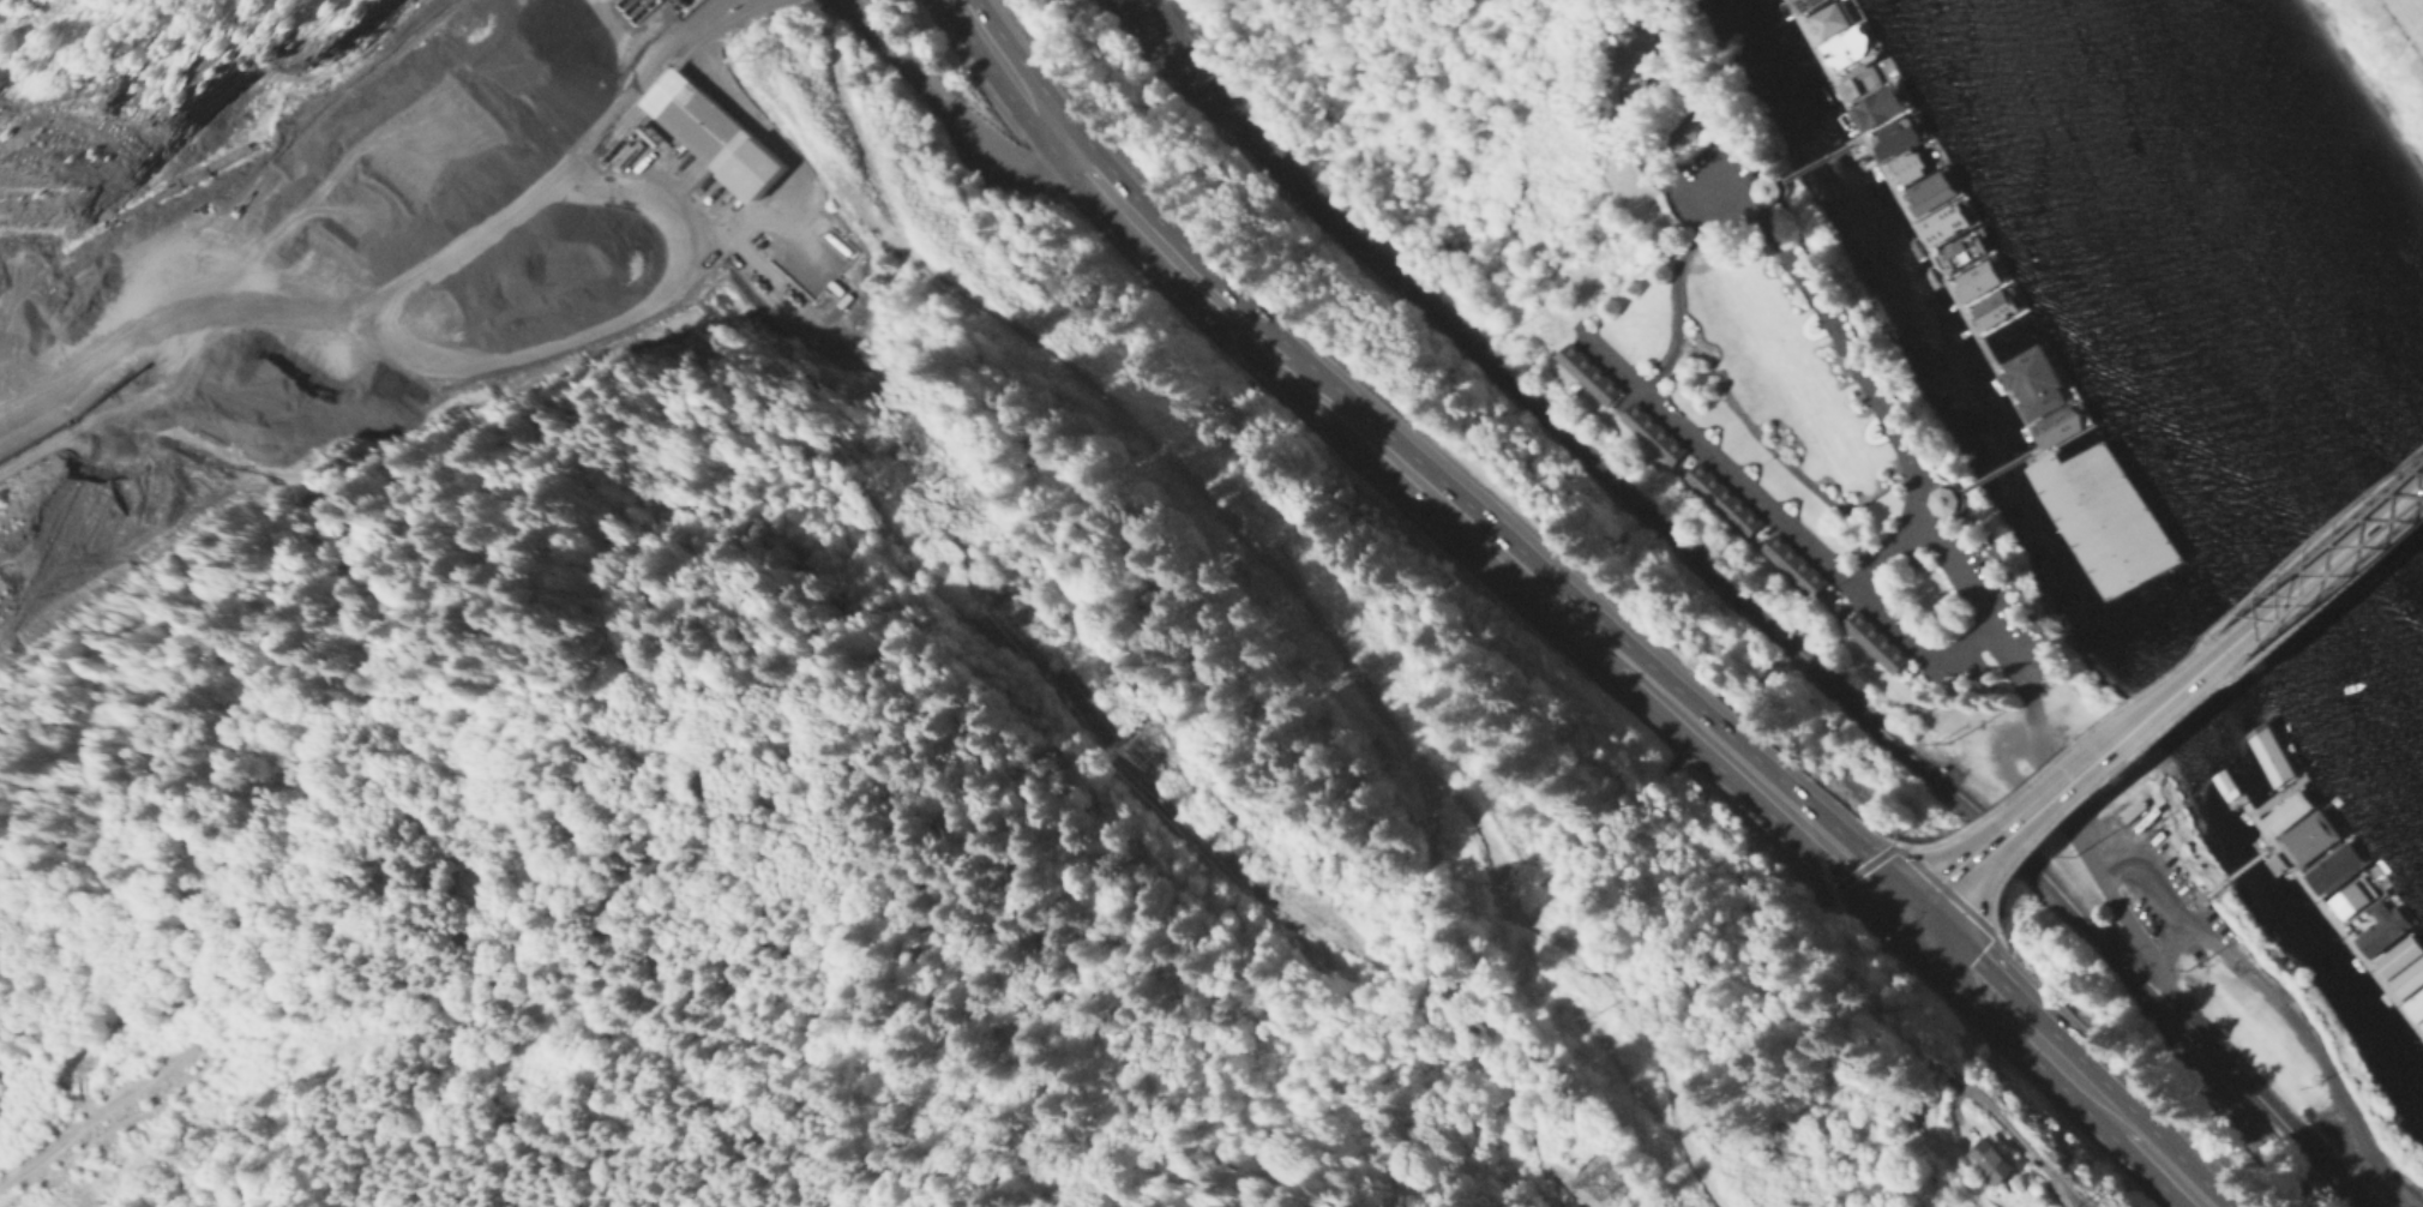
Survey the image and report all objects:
building: (1798, 2)
building: (1824, 14)
parking lot: (655, 17)
building: (1842, 41)
road: (695, 42)
road: (666, 53)
parking lot: (707, 74)
building: (1862, 74)
road: (651, 89)
building: (1876, 101)
road: (950, 104)
railway: (1213, 109)
building: (1892, 130)
building: (648, 132)
storage tank: (648, 132)
building: (714, 132)
building: (620, 149)
storage tank: (620, 149)
building: (1910, 157)
pier: (1822, 161)
road: (981, 164)
road: (581, 167)
road: (1726, 169)
parking lot: (659, 173)
building: (1925, 185)
parking lot: (1718, 186)
building: (1769, 187)
parking lot: (781, 192)
building: (1940, 216)
road: (790, 222)
quarry: (440, 229)
road: (317, 232)
building: (1956, 246)
parking lot: (824, 248)
pier: (1930, 262)
river: (2249, 272)
building: (1973, 274)
parking lot: (662, 283)
road: (1678, 293)
building: (1990, 304)
road: (164, 312)
building: (278, 322)
road: (545, 334)
road: (1259, 338)
building: (2004, 343)
building: (1592, 371)
building: (2030, 376)
building: (76, 418)
building: (2054, 420)
building: (1654, 432)
building: (1725, 497)
building: (1948, 498)
building: (2092, 512)
road: (1781, 516)
pier: (2075, 516)
road: (1884, 552)
building: (1796, 564)
road: (1956, 564)
road: (1292, 588)
railway: (1750, 607)
parking lot: (1990, 607)
road: (2243, 625)
building: (1880, 642)
road: (2168, 666)
road: (1658, 698)
road: (2177, 707)
power tower: (1132, 747)
building: (2262, 756)
building: (2237, 771)
building: (2296, 827)
road: (2000, 834)
road: (1811, 835)
road: (1871, 861)
pier: (2237, 869)
road: (2146, 878)
parking lot: (2162, 882)
road: (1941, 895)
building: (2347, 900)
road: (1918, 905)
pier: (2325, 914)
traffic signals: (1901, 919)
building: (2397, 963)
road: (2305, 1031)
road: (383, 1033)
road: (2054, 1062)
road: (2225, 1098)
parking lot: (2363, 1145)
road: (2024, 1151)
building: (1996, 1160)
power tower: (1592, 1182)

